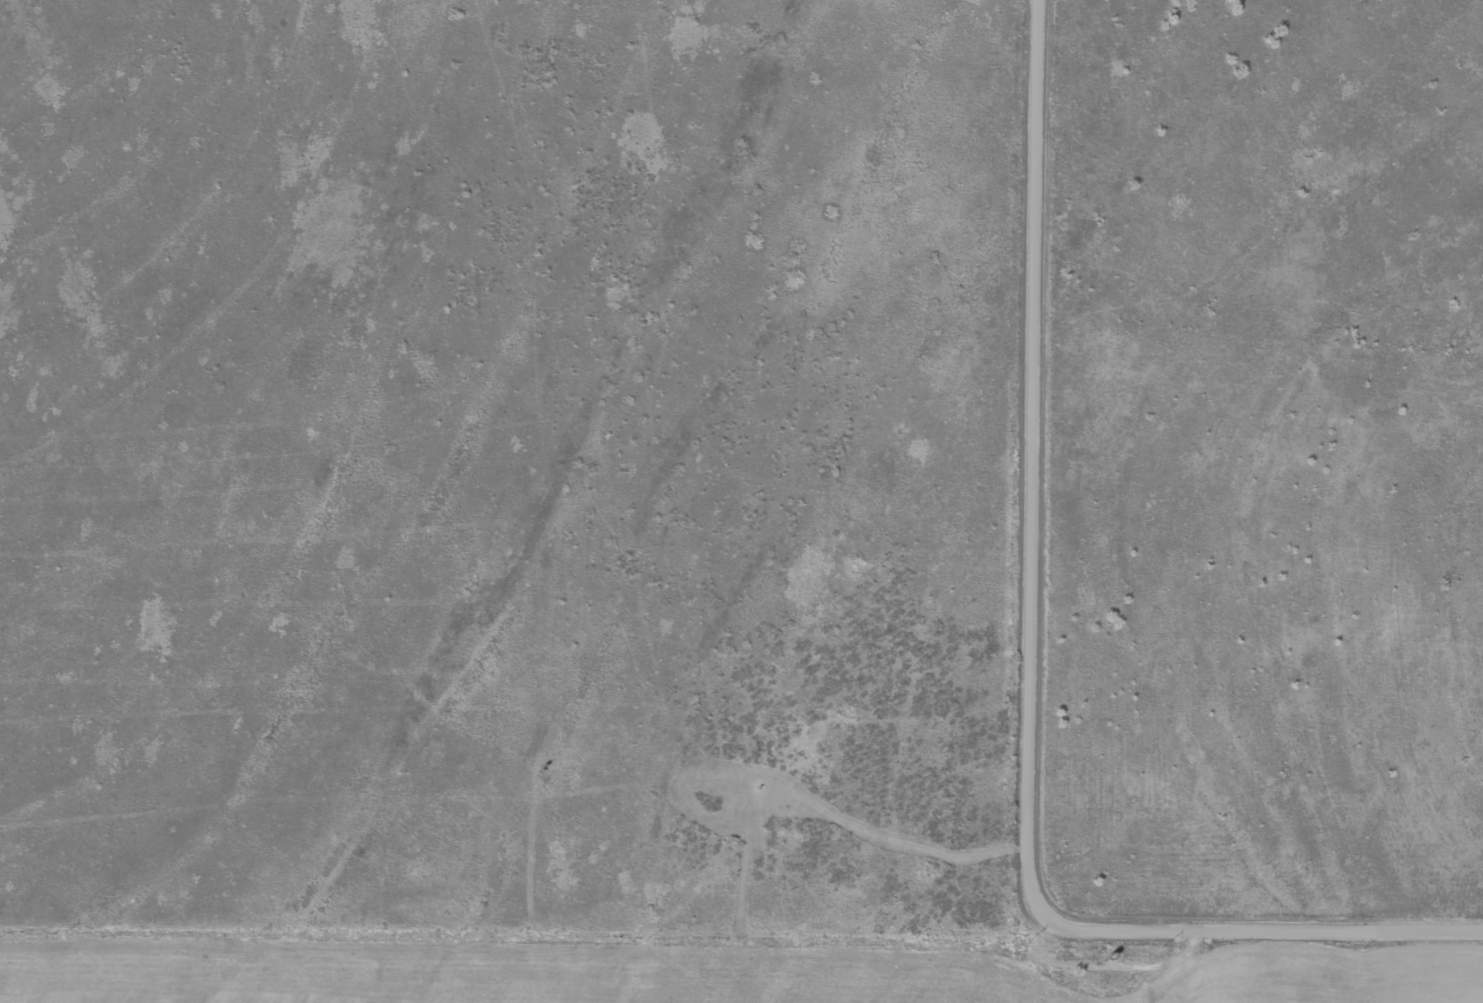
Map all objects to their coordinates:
road: (1033, 673)

